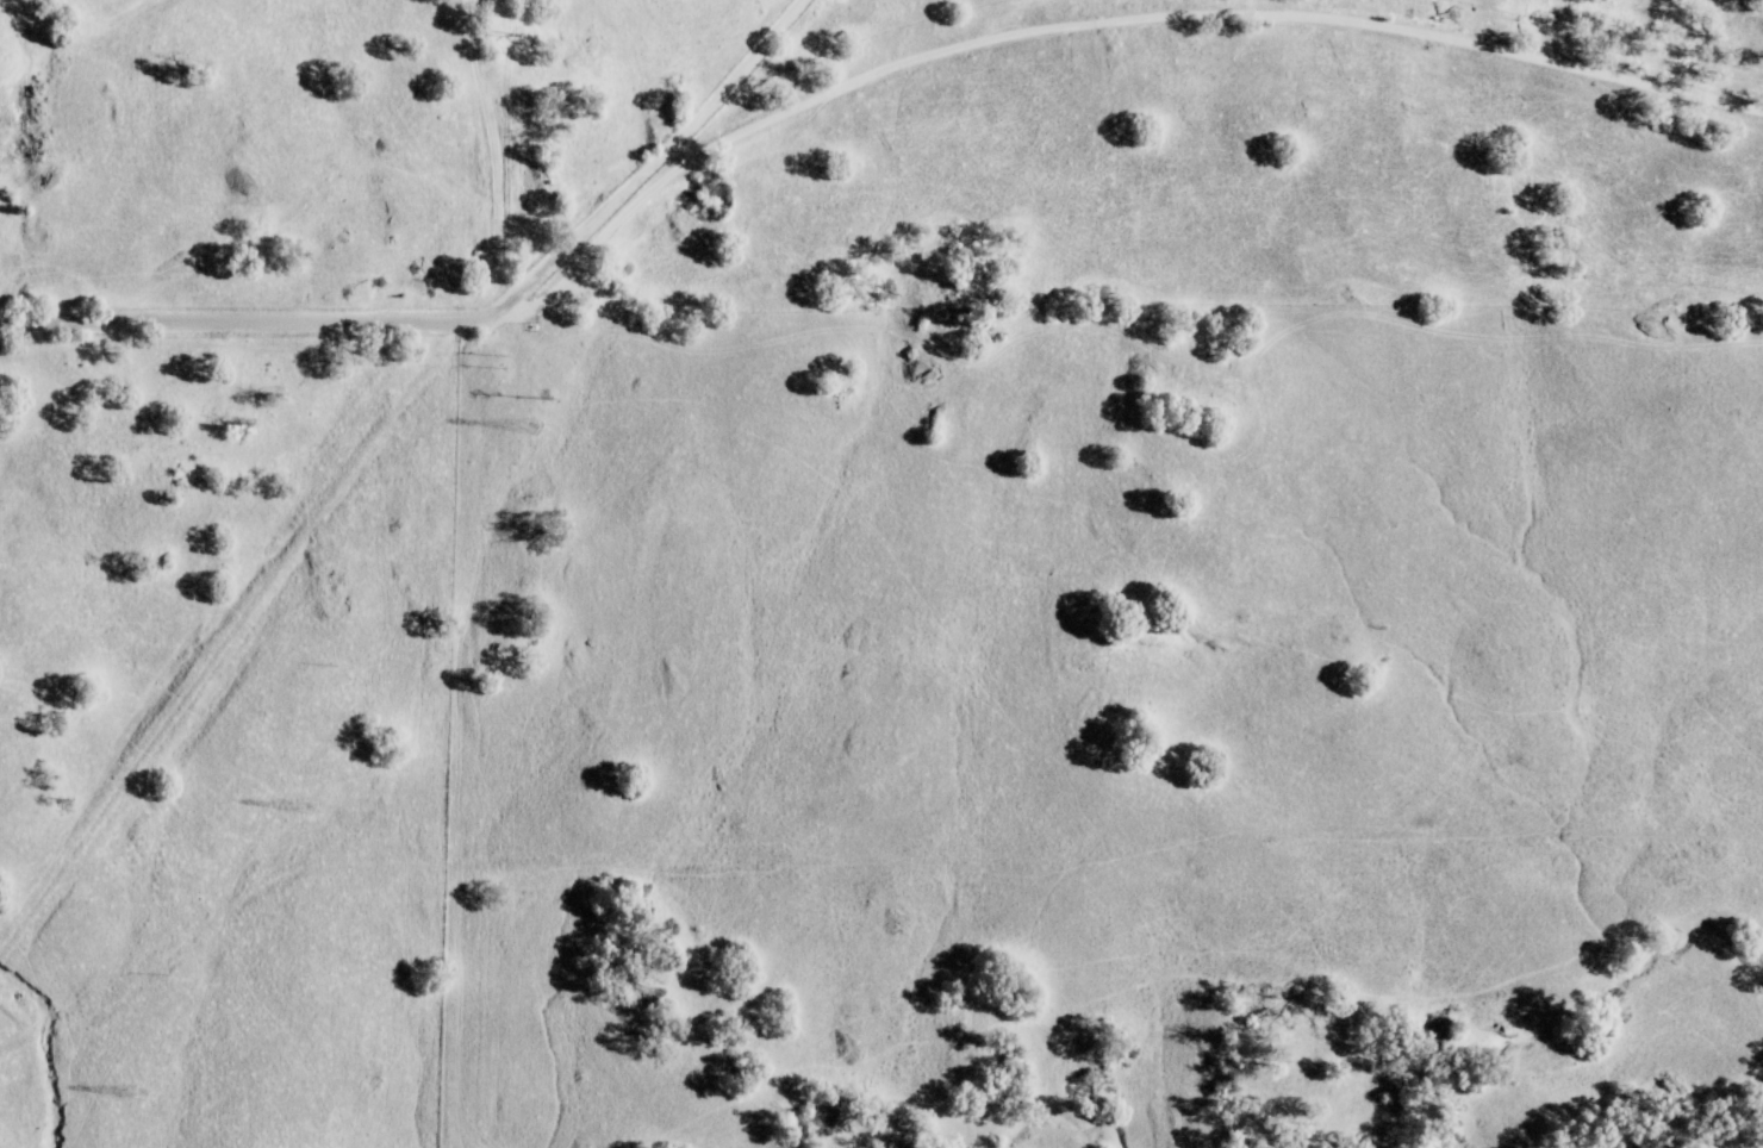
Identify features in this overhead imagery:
road: (1219, 6)
road: (467, 322)
power tower: (549, 400)
power tower: (313, 807)
power tower: (150, 1094)

